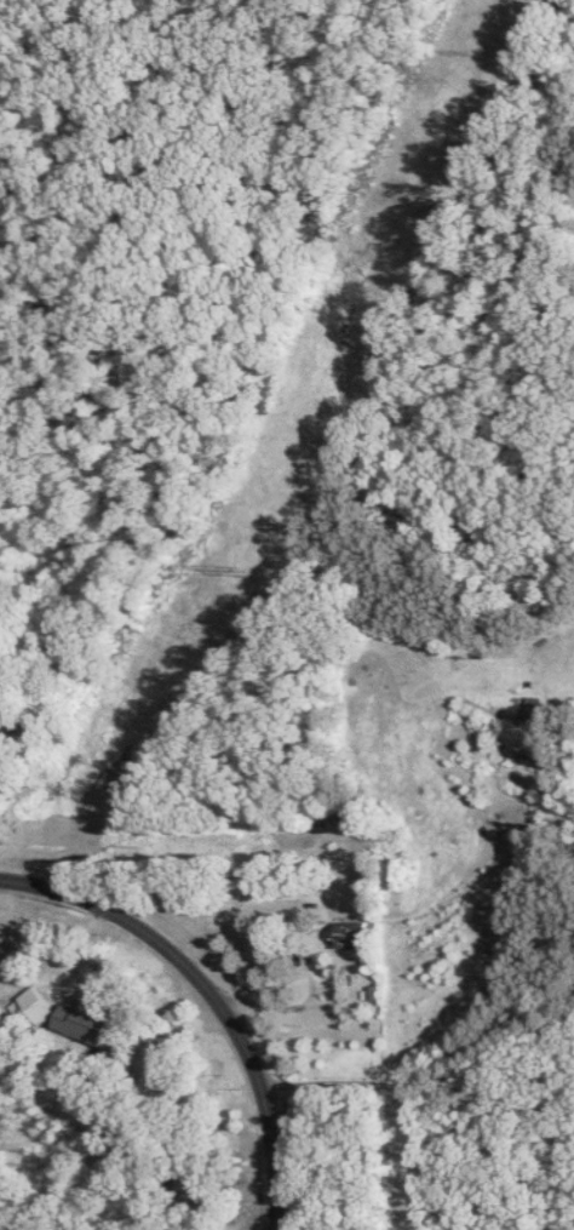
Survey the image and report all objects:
building: (355, 933)
road: (211, 995)
building: (40, 1007)
building: (90, 1022)
road: (437, 1080)

